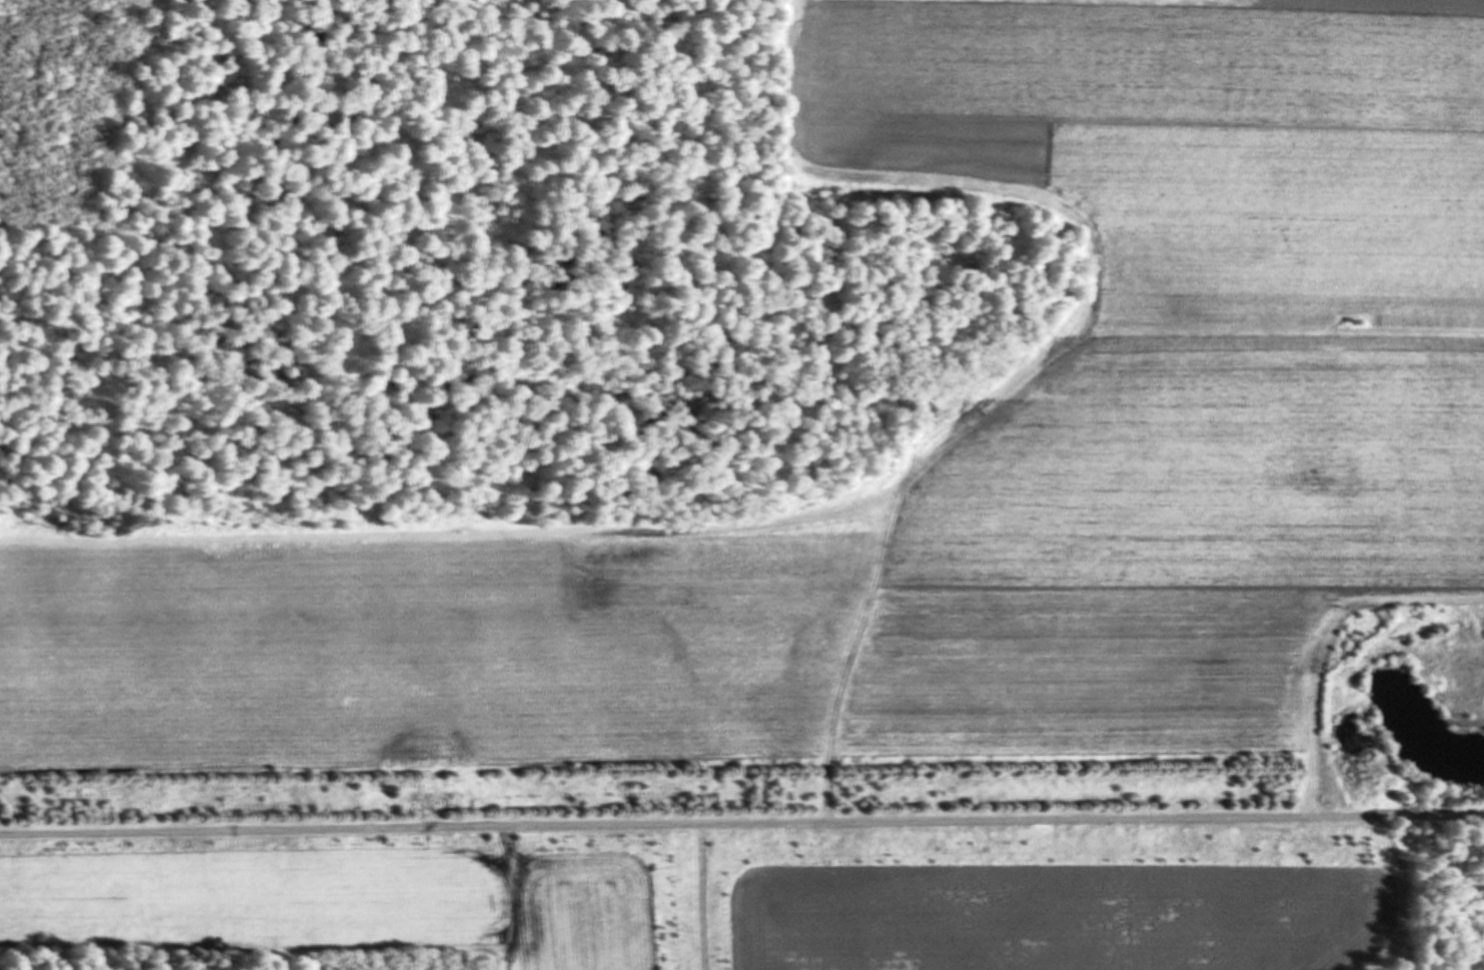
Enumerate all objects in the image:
road: (741, 822)

